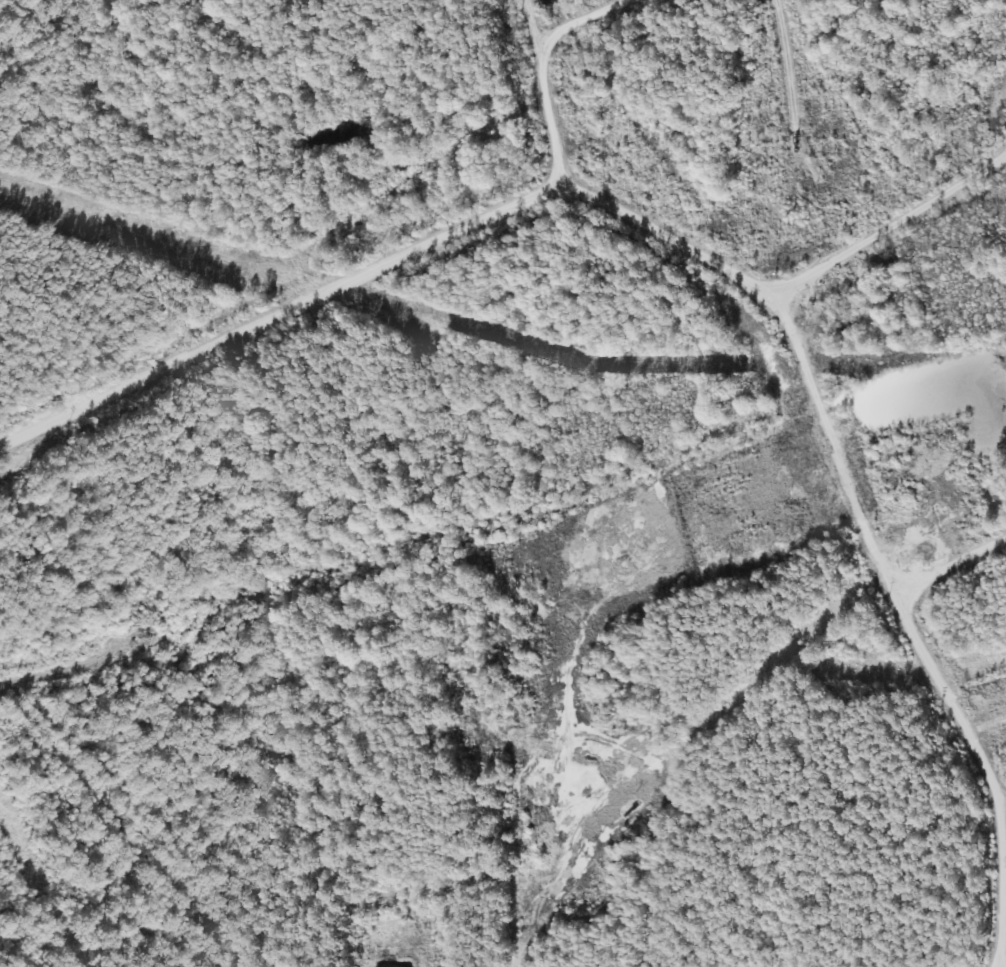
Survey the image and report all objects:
road: (596, 21)
road: (554, 83)
road: (494, 190)
road: (945, 573)
road: (885, 602)
road: (53, 766)

